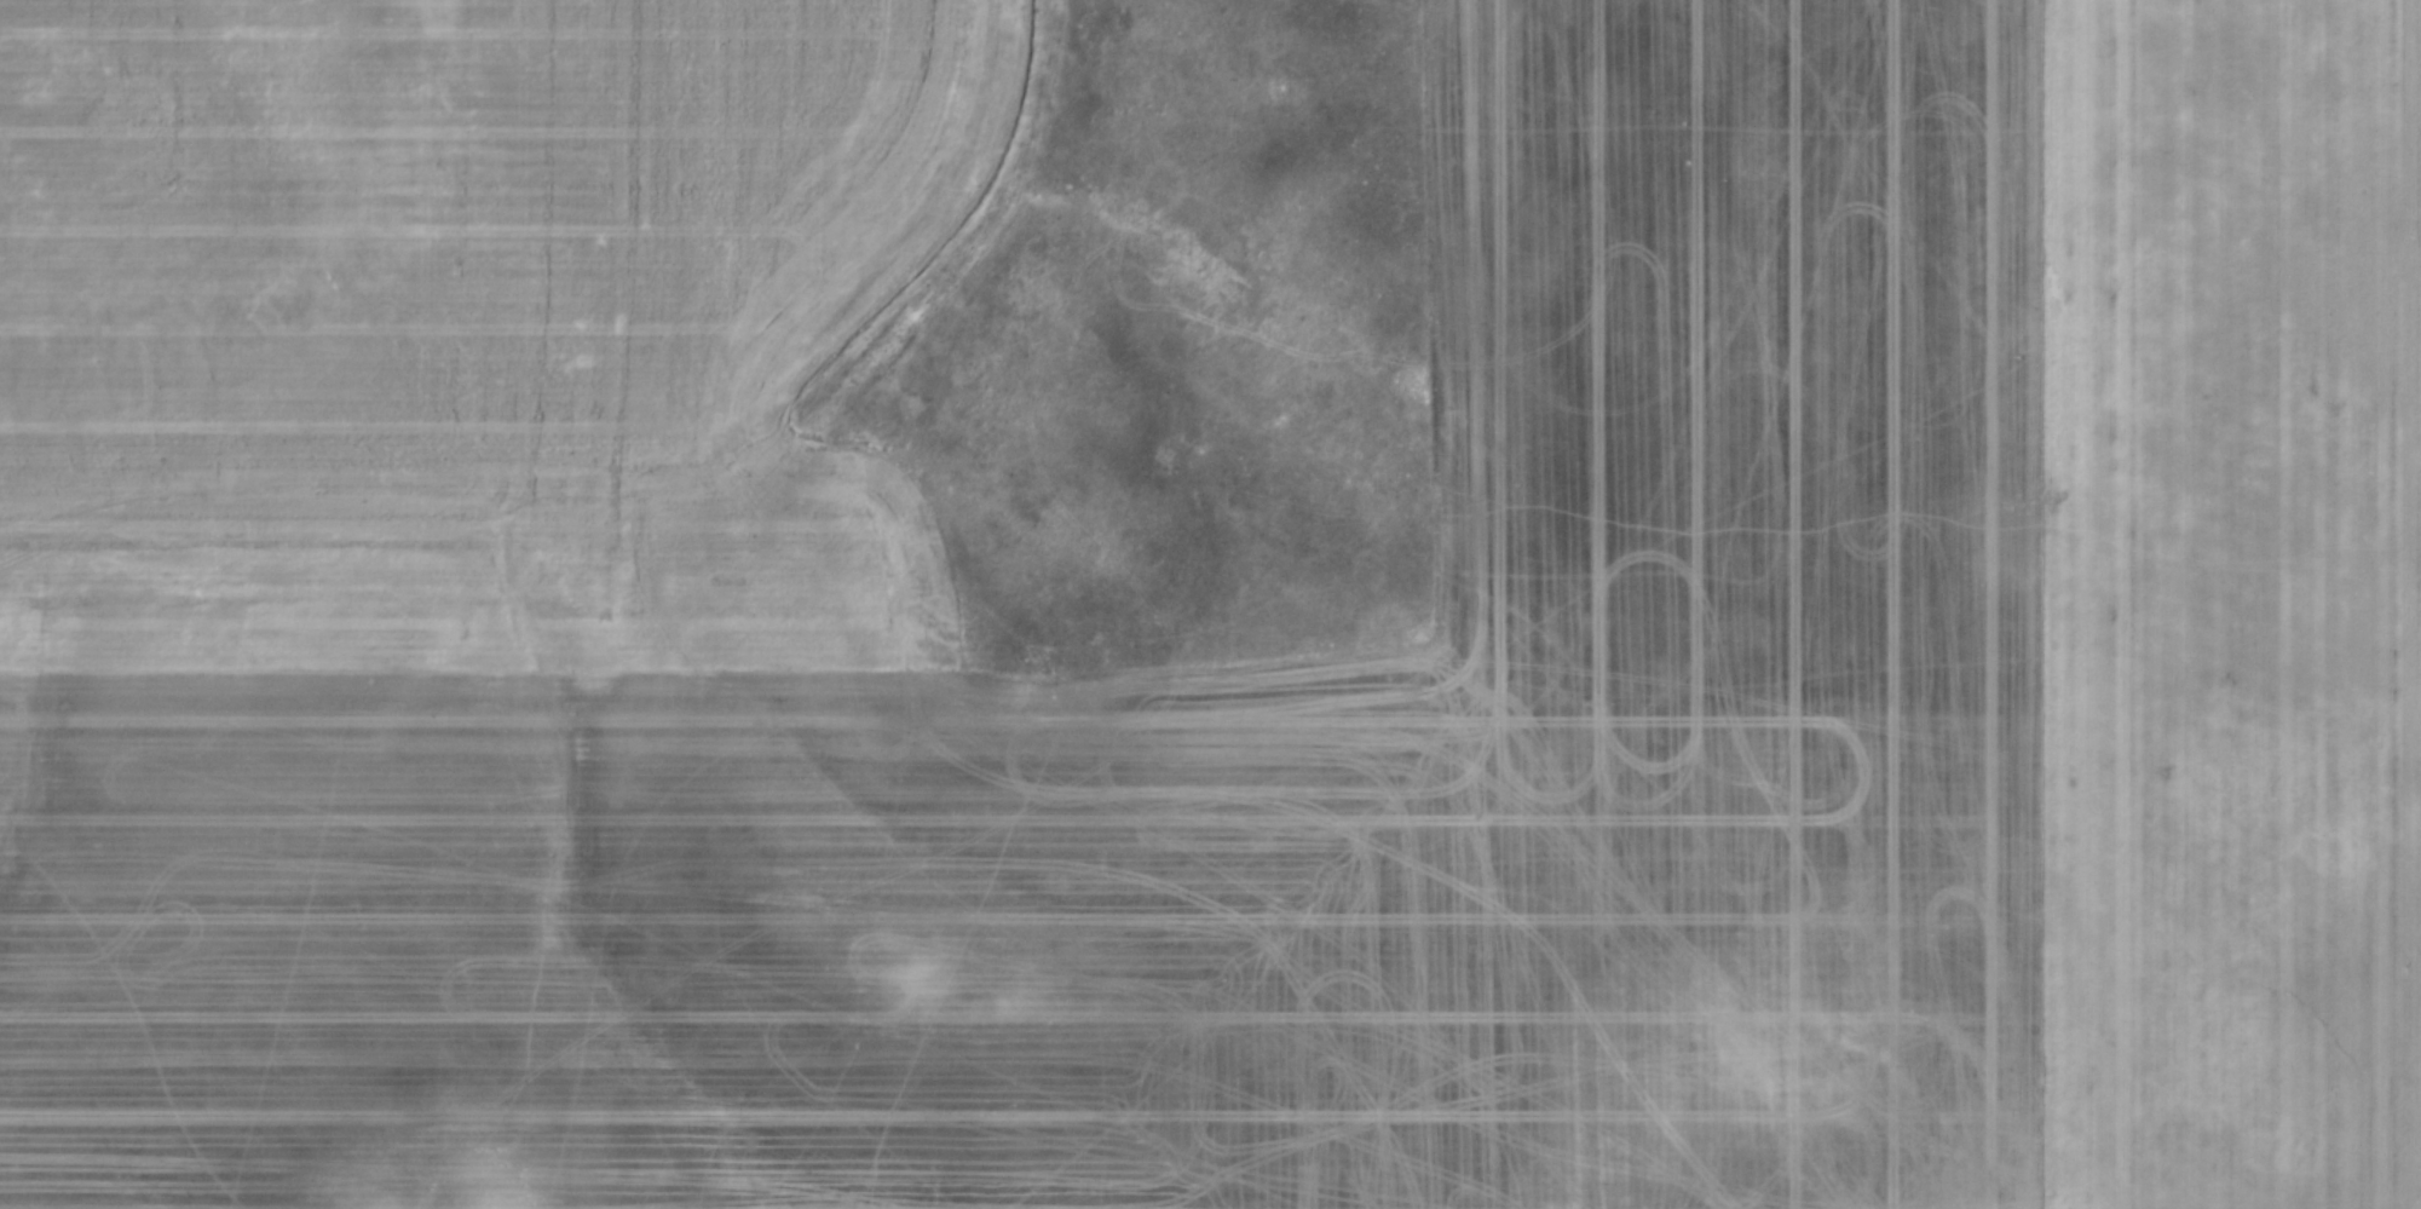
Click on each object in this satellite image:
crop: (1210, 604)

